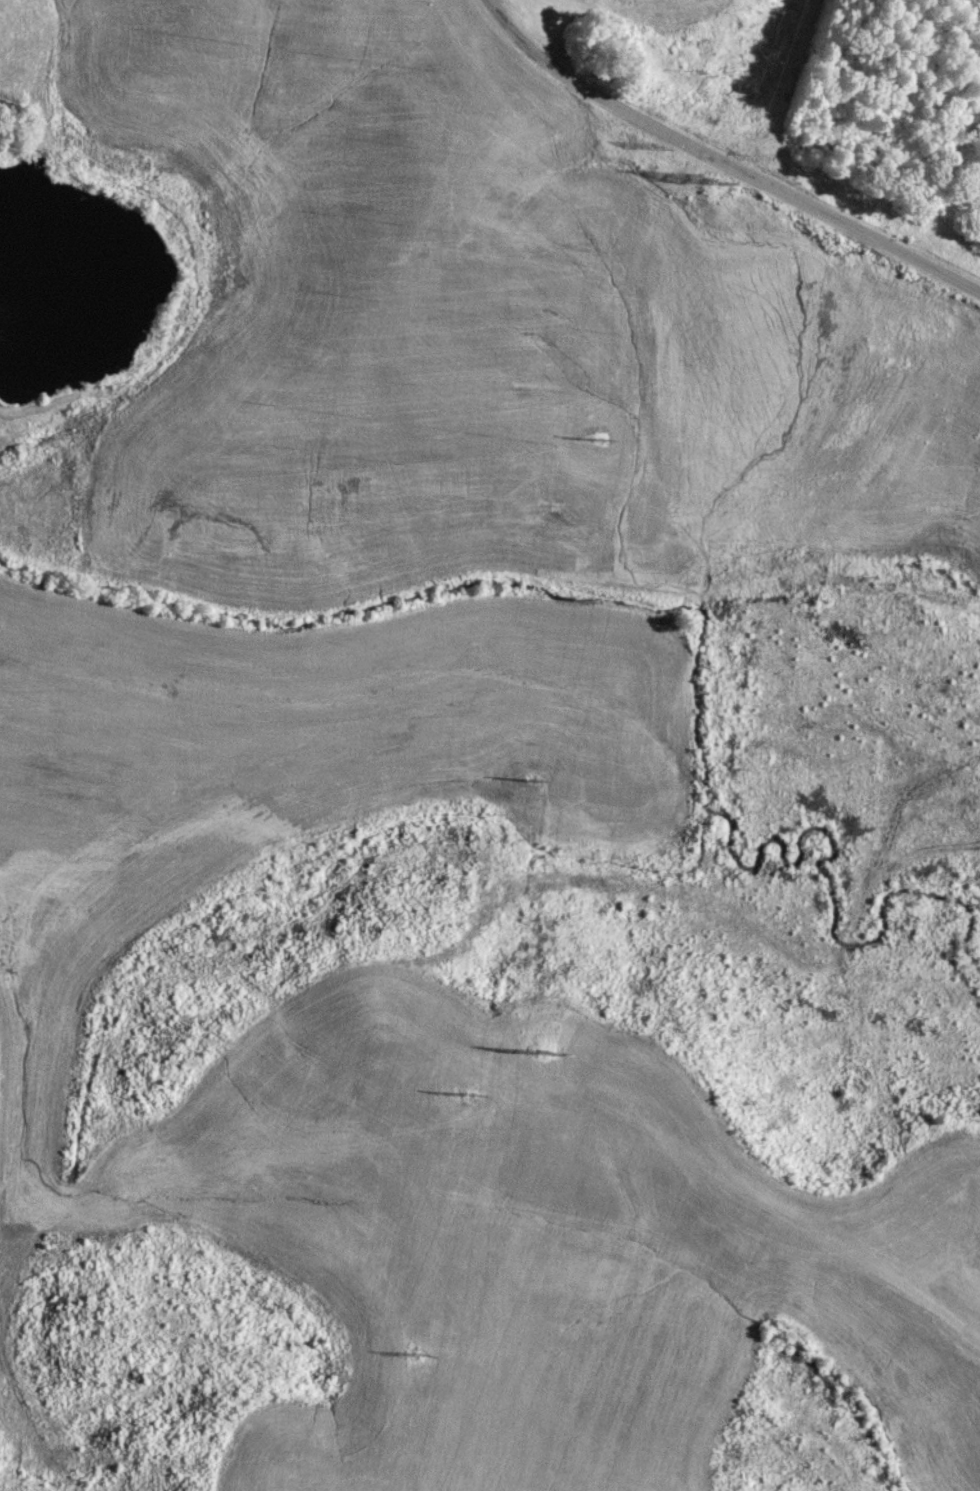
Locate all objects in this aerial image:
road: (725, 163)
power tower: (698, 185)
power tower: (541, 1059)

